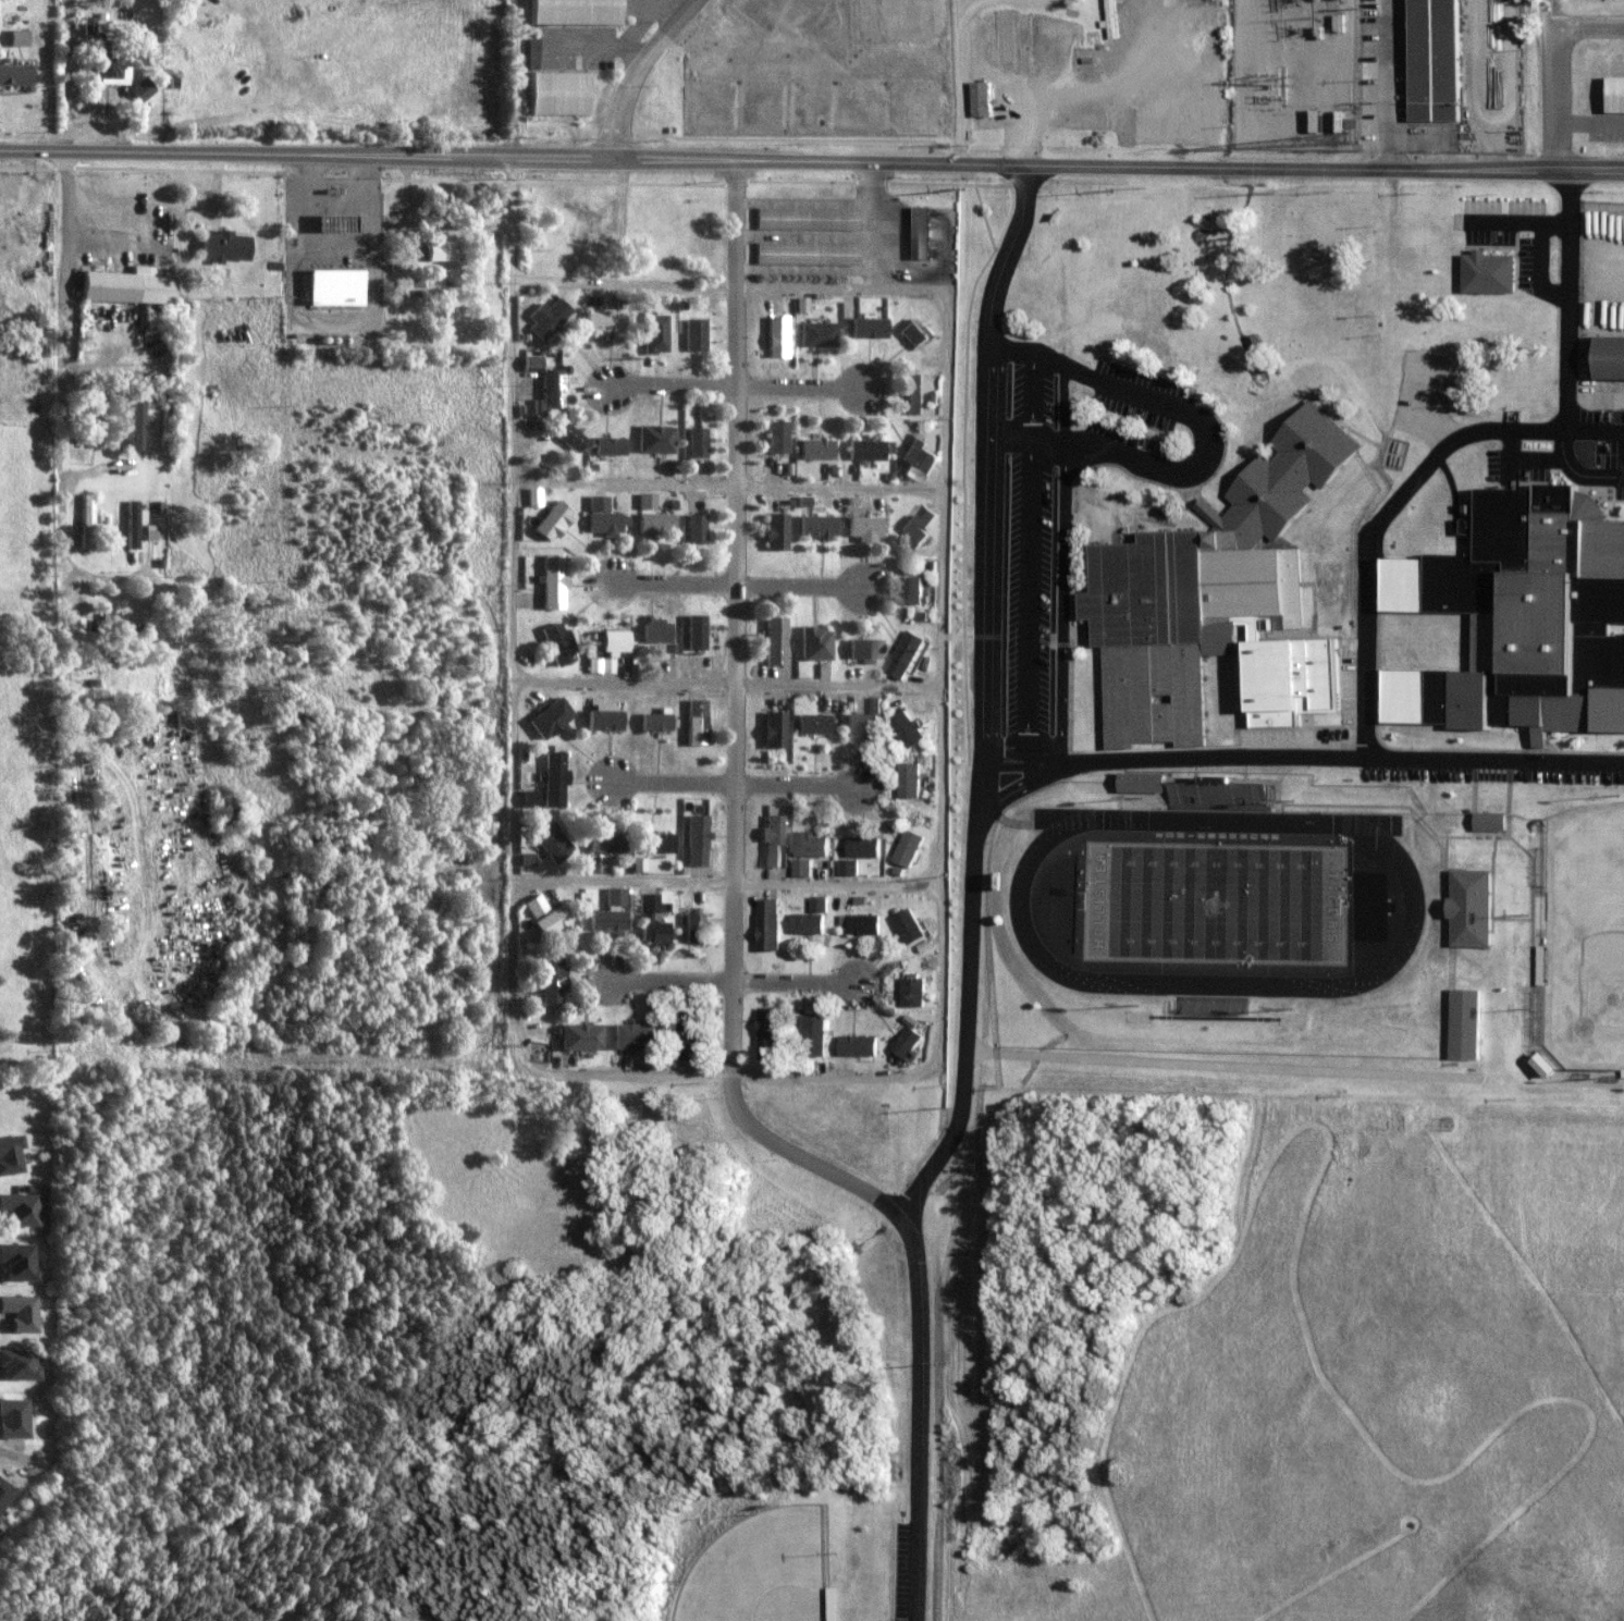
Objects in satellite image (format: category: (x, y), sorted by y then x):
road: (1024, 2)
building: (579, 11)
building: (16, 37)
building: (1441, 60)
building: (110, 69)
power substation: (1299, 72)
road: (643, 73)
road: (1558, 73)
building: (14, 74)
road: (46, 81)
road: (959, 83)
road: (1397, 84)
building: (139, 88)
building: (562, 93)
building: (1620, 94)
building: (983, 98)
road: (91, 116)
road: (304, 153)
road: (1115, 164)
road: (131, 200)
building: (810, 218)
building: (926, 232)
building: (224, 246)
building: (440, 250)
building: (809, 253)
building: (1492, 272)
building: (127, 285)
building: (335, 286)
road: (925, 290)
building: (550, 317)
building: (606, 320)
building: (870, 328)
building: (777, 331)
building: (656, 333)
building: (916, 333)
building: (697, 334)
building: (819, 334)
building: (1614, 357)
road: (673, 386)
road: (801, 388)
building: (918, 393)
road: (512, 421)
building: (137, 427)
building: (90, 429)
building: (570, 437)
building: (777, 437)
road: (1465, 437)
road: (1208, 438)
building: (656, 439)
building: (697, 441)
building: (611, 446)
parking lot: (1605, 446)
building: (815, 449)
building: (864, 450)
building: (921, 457)
road: (728, 484)
building: (534, 498)
building: (647, 500)
road: (983, 504)
building: (604, 516)
building: (88, 520)
building: (553, 520)
building: (134, 523)
building: (655, 523)
building: (922, 525)
building: (816, 526)
building: (864, 527)
building: (776, 531)
road: (1031, 552)
building: (554, 581)
road: (674, 585)
building: (1210, 586)
road: (800, 587)
building: (919, 590)
road: (740, 617)
building: (1525, 617)
building: (74, 624)
building: (113, 628)
building: (656, 630)
building: (697, 631)
building: (775, 640)
building: (615, 641)
building: (558, 643)
building: (815, 643)
building: (864, 648)
building: (911, 654)
building: (601, 665)
road: (726, 683)
building: (877, 705)
building: (551, 720)
building: (605, 720)
building: (656, 722)
building: (697, 722)
building: (813, 724)
building: (861, 727)
building: (913, 728)
building: (774, 729)
road: (1021, 751)
road: (1307, 758)
building: (555, 778)
building: (912, 779)
building: (1151, 782)
road: (674, 783)
road: (801, 786)
building: (1225, 796)
building: (528, 798)
building: (1493, 821)
building: (698, 840)
building: (774, 840)
building: (553, 842)
building: (610, 842)
building: (661, 843)
building: (813, 844)
building: (868, 847)
building: (913, 848)
building: (528, 859)
building: (641, 864)
building: (852, 867)
building: (805, 868)
road: (718, 883)
building: (823, 904)
building: (1476, 908)
building: (612, 912)
building: (548, 914)
building: (654, 923)
building: (811, 923)
building: (868, 924)
building: (774, 925)
building: (914, 926)
building: (696, 929)
park: (1586, 937)
building: (1542, 966)
building: (554, 979)
road: (672, 982)
road: (800, 983)
building: (918, 991)
road: (970, 1014)
building: (1469, 1024)
building: (689, 1030)
building: (774, 1033)
building: (638, 1035)
building: (820, 1035)
building: (582, 1036)
building: (914, 1043)
building: (863, 1045)
building: (10, 1155)
building: (19, 1208)
building: (16, 1262)
road: (923, 1302)
building: (17, 1313)
building: (16, 1365)
building: (11, 1419)
building: (3, 1493)
park: (765, 1570)

